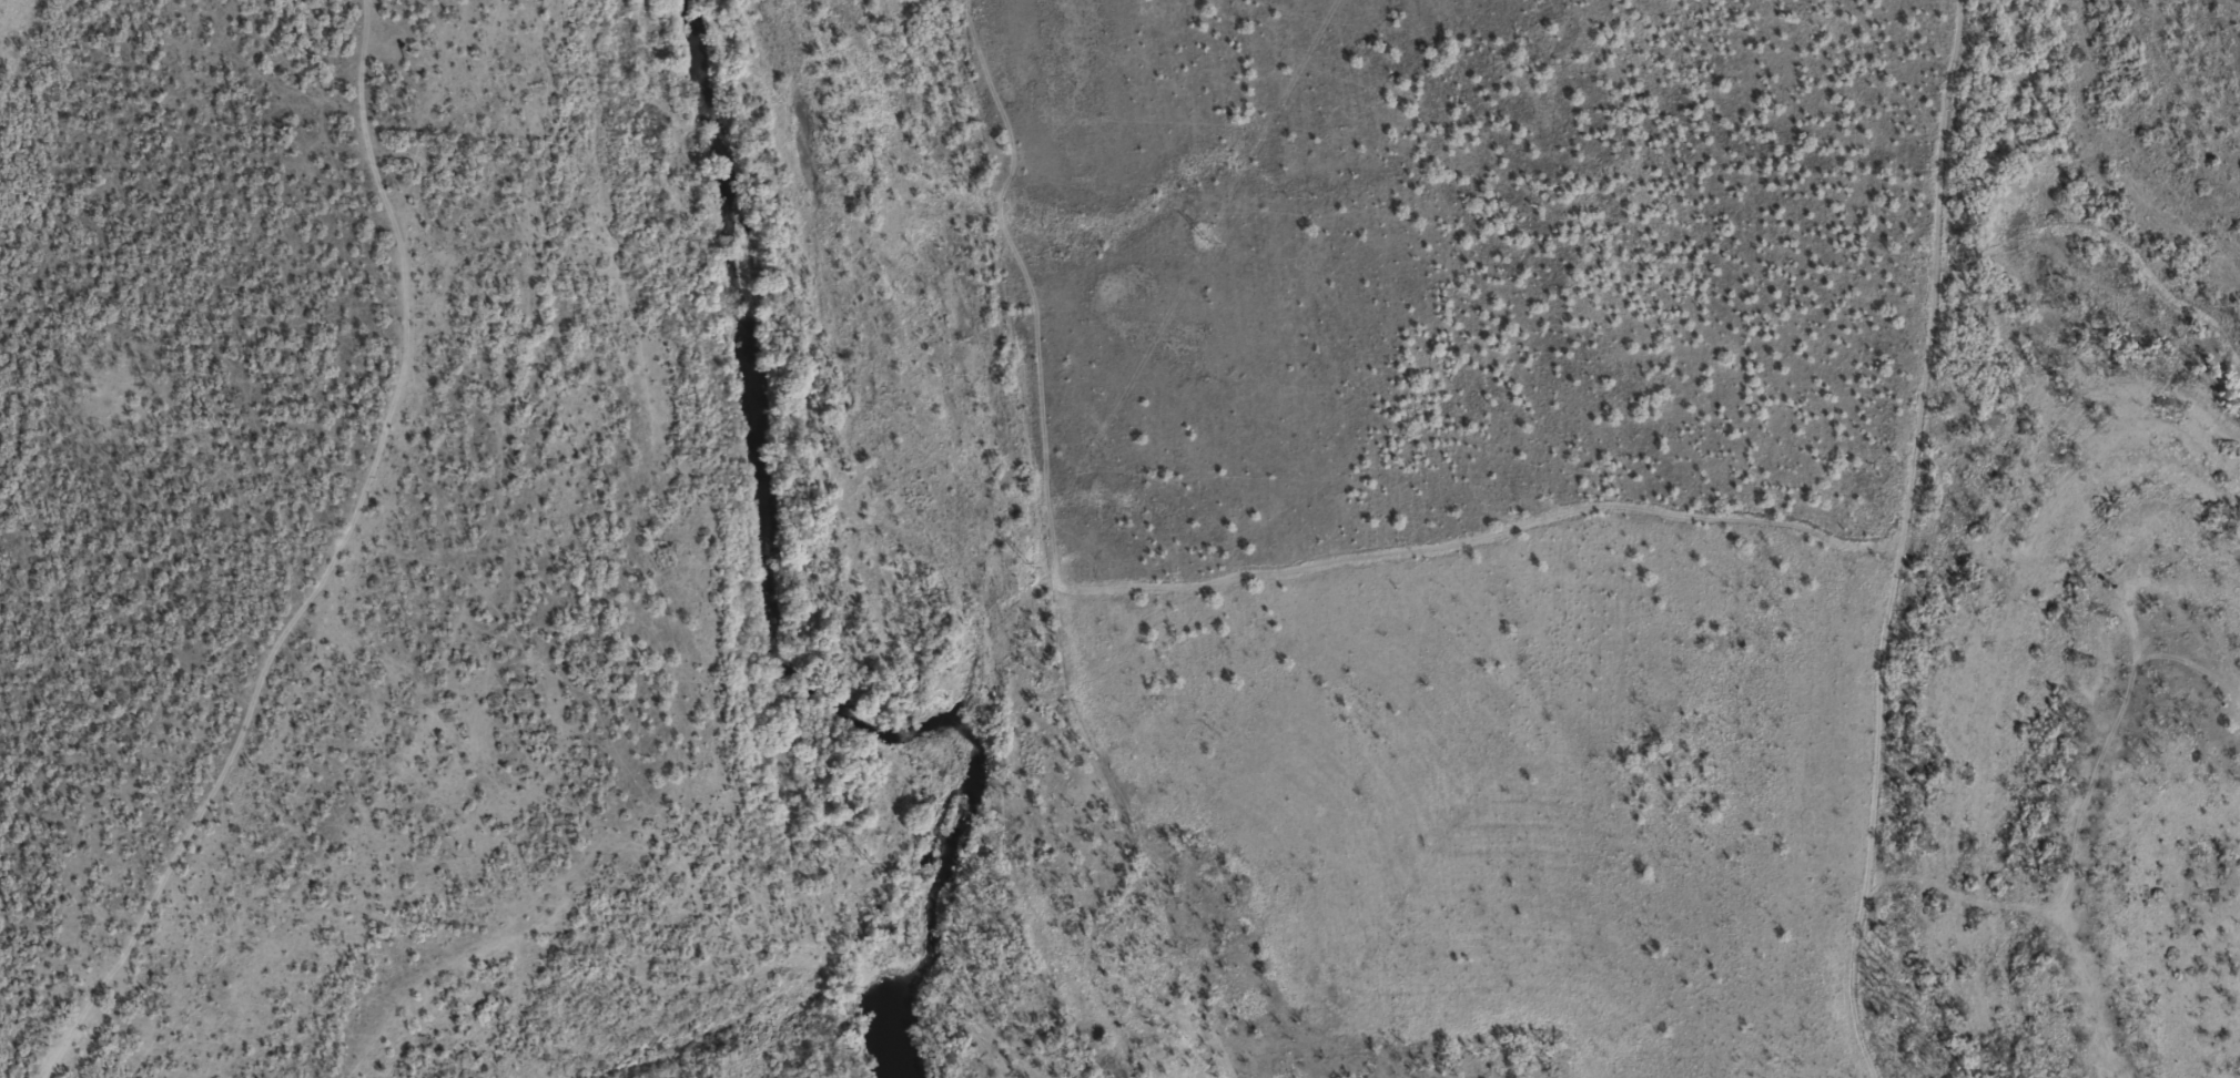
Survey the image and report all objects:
power tower: (1205, 241)
power tower: (1027, 566)
power tower: (864, 861)

